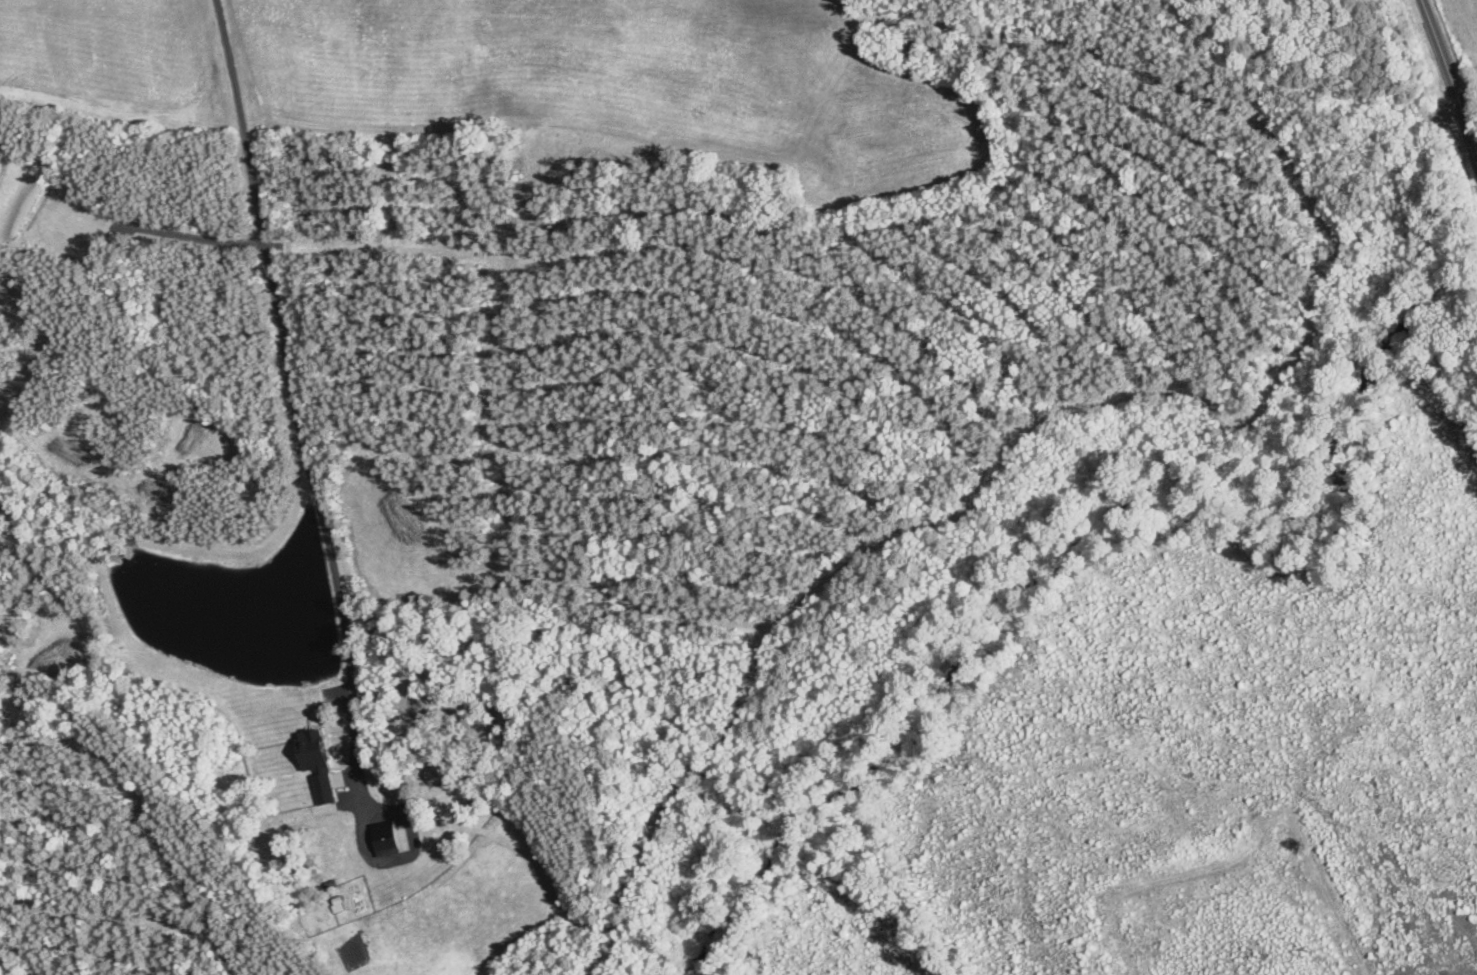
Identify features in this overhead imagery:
road: (1449, 73)
road: (300, 484)
building: (265, 743)
building: (434, 773)
building: (474, 801)

